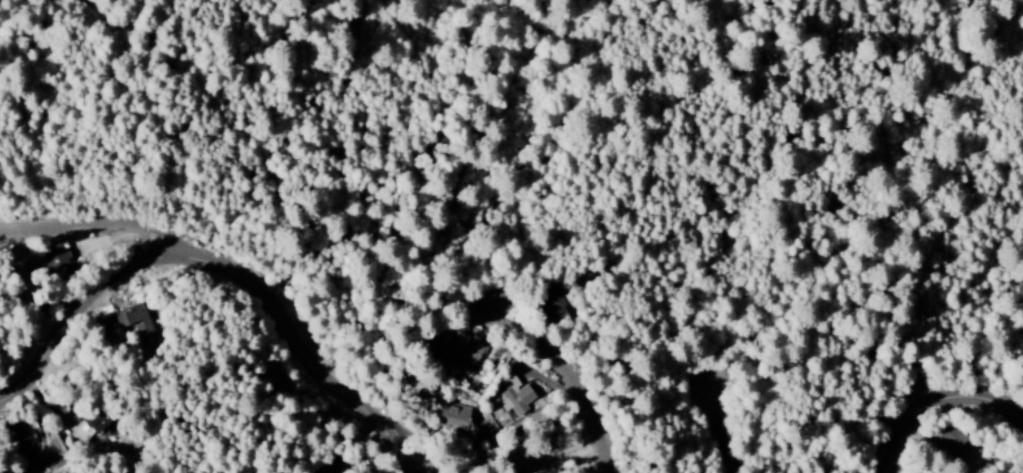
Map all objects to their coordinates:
road: (103, 225)
building: (56, 264)
road: (225, 267)
building: (551, 304)
building: (136, 322)
building: (464, 351)
road: (579, 379)
building: (516, 396)
road: (937, 406)
building: (453, 416)
building: (90, 425)
road: (724, 428)
building: (953, 440)
building: (22, 449)
building: (319, 470)
building: (553, 471)

